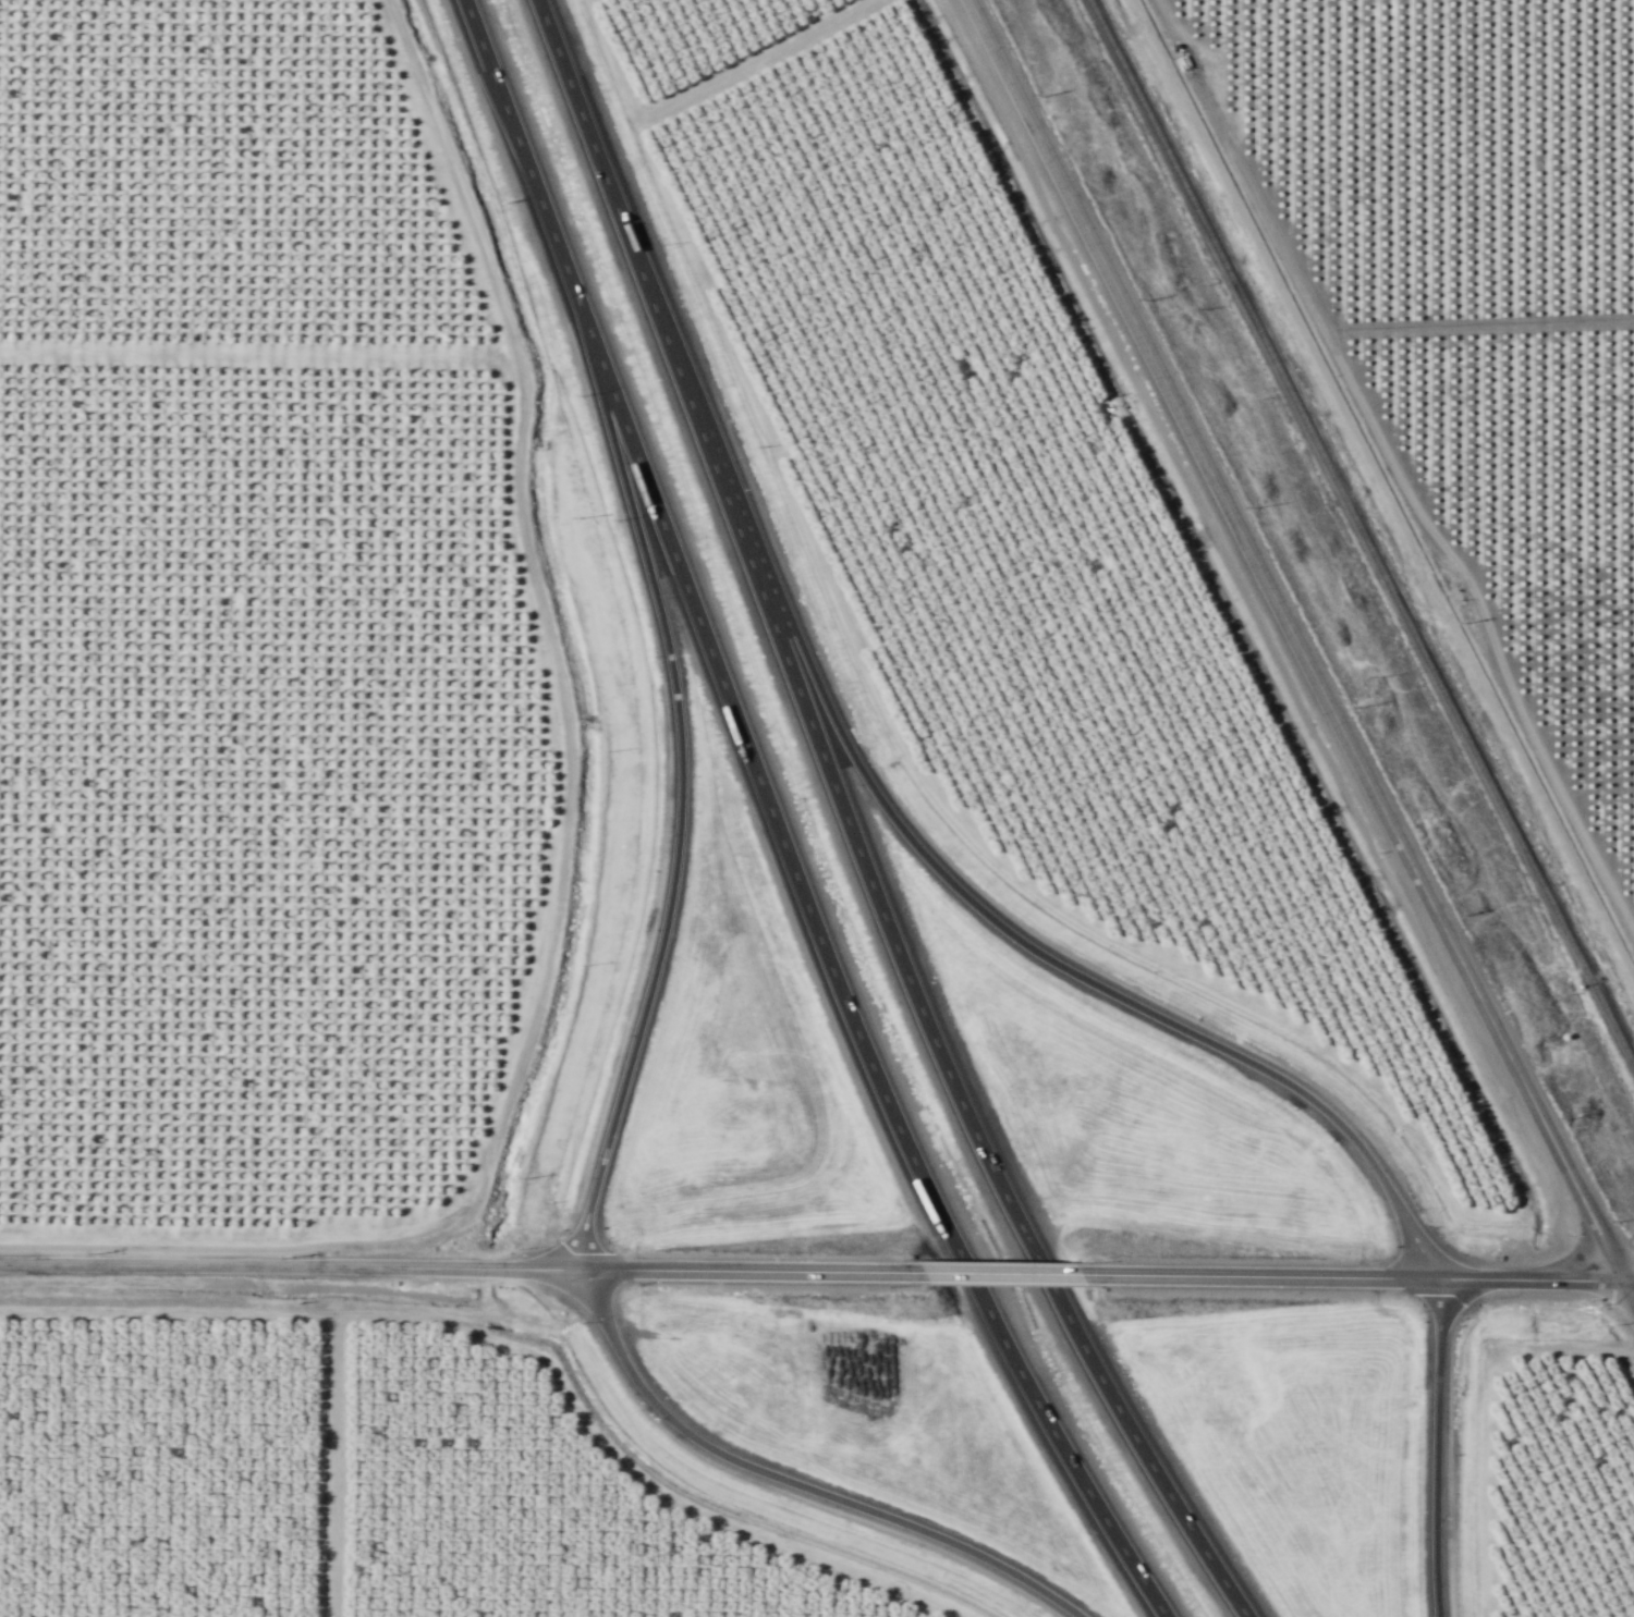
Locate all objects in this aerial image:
railway: (1361, 532)
road: (1297, 640)
road: (678, 810)
road: (785, 824)
road: (858, 829)
road: (566, 833)
road: (992, 915)
road: (290, 1265)
road: (749, 1270)
road: (1000, 1272)
road: (1352, 1276)
road: (1630, 1279)
road: (1630, 1288)
road: (528, 1351)
road: (1437, 1447)
road: (332, 1465)
road: (796, 1482)

